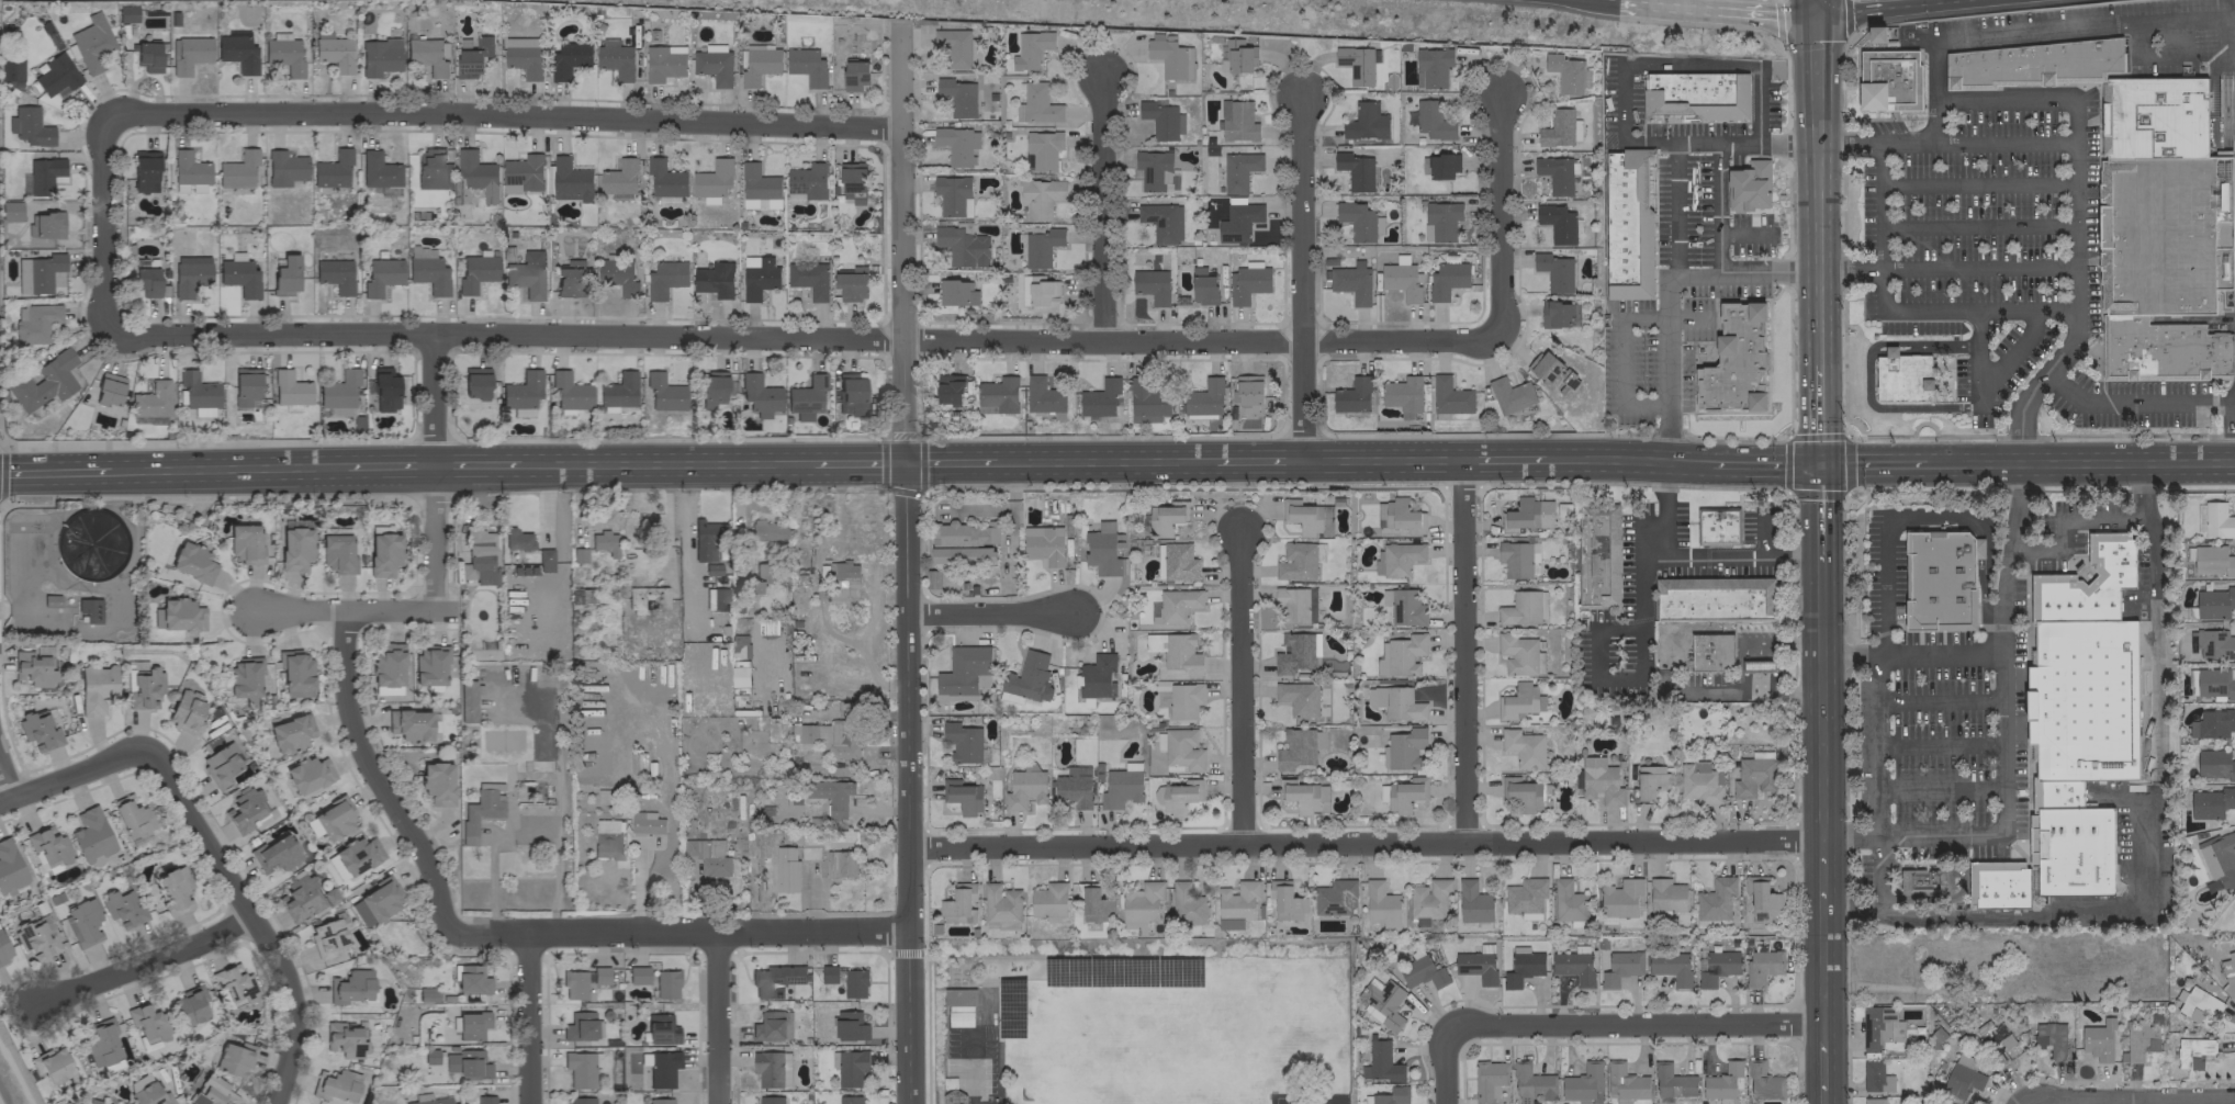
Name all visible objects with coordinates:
road: (1605, 1)
road: (1660, 7)
road: (1813, 7)
road: (1882, 7)
building: (127, 13)
road: (1757, 14)
traffic signals: (1813, 14)
building: (1876, 33)
building: (91, 43)
building: (956, 47)
building: (1031, 49)
building: (237, 50)
building: (189, 53)
building: (334, 53)
building: (147, 55)
building: (284, 55)
building: (428, 55)
building: (380, 56)
building: (472, 56)
building: (523, 56)
building: (1236, 56)
building: (1170, 57)
building: (569, 59)
building: (616, 60)
road: (1798, 61)
building: (663, 63)
road: (1781, 63)
building: (712, 64)
building: (756, 64)
building: (1357, 64)
building: (806, 66)
building: (1431, 67)
building: (11, 70)
building: (855, 74)
building: (1566, 74)
building: (57, 76)
building: (1889, 81)
building: (957, 97)
building: (1695, 97)
road: (2054, 102)
building: (1036, 104)
road: (1759, 105)
road: (505, 111)
building: (1161, 119)
building: (1433, 120)
building: (1238, 122)
building: (1366, 122)
building: (2154, 122)
building: (31, 126)
building: (1560, 128)
road: (1744, 143)
road: (1894, 143)
road: (2003, 143)
building: (957, 144)
building: (1043, 148)
road: (1676, 159)
building: (1441, 166)
building: (190, 168)
building: (284, 168)
building: (238, 169)
building: (333, 169)
building: (433, 169)
building: (378, 170)
building: (1238, 170)
building: (1355, 170)
building: (145, 171)
building: (1156, 171)
building: (476, 173)
building: (523, 173)
building: (1557, 173)
building: (44, 174)
building: (665, 178)
building: (852, 178)
building: (570, 180)
building: (619, 180)
building: (711, 181)
building: (807, 182)
road: (1975, 183)
building: (1750, 187)
building: (189, 188)
building: (759, 188)
road: (1815, 188)
building: (953, 194)
building: (1040, 196)
road: (1876, 205)
road: (1102, 210)
building: (11, 211)
road: (1504, 217)
building: (1357, 219)
building: (1440, 221)
building: (1163, 222)
building: (1238, 222)
building: (1558, 222)
road: (106, 223)
building: (1631, 223)
building: (45, 225)
road: (1976, 226)
building: (2165, 233)
road: (1742, 235)
road: (903, 238)
building: (962, 245)
building: (1041, 246)
road: (1718, 257)
road: (1976, 268)
building: (427, 270)
building: (1554, 271)
building: (37, 272)
building: (475, 272)
road: (1301, 273)
building: (190, 274)
building: (335, 274)
building: (528, 274)
building: (617, 274)
road: (1697, 274)
building: (285, 275)
building: (381, 275)
building: (239, 277)
building: (757, 277)
building: (570, 278)
building: (664, 279)
building: (714, 279)
building: (808, 279)
building: (1446, 280)
building: (147, 281)
building: (1351, 281)
building: (1400, 281)
building: (851, 282)
building: (1246, 283)
building: (1150, 284)
building: (1202, 286)
building: (955, 292)
building: (1042, 294)
building: (34, 323)
road: (806, 337)
building: (2163, 350)
road: (2010, 353)
road: (1976, 358)
road: (1621, 359)
building: (1736, 362)
building: (1552, 373)
building: (1902, 376)
road: (1868, 378)
building: (44, 382)
road: (2036, 382)
building: (475, 383)
building: (246, 386)
building: (109, 388)
building: (383, 388)
building: (711, 388)
building: (948, 388)
building: (196, 391)
building: (290, 391)
building: (521, 391)
building: (570, 391)
building: (339, 392)
building: (618, 392)
building: (664, 392)
building: (1248, 393)
building: (759, 394)
building: (850, 394)
building: (998, 395)
building: (1042, 395)
building: (1352, 395)
building: (1509, 395)
building: (1403, 396)
building: (1449, 396)
building: (806, 397)
building: (1204, 397)
building: (1099, 398)
building: (151, 399)
building: (1146, 402)
road: (2134, 402)
building: (202, 412)
road: (1817, 414)
road: (2233, 435)
road: (1, 440)
road: (1381, 459)
road: (1503, 459)
road: (1626, 459)
road: (1104, 460)
road: (1258, 460)
road: (950, 461)
road: (857, 462)
traffic signals: (905, 462)
road: (2081, 462)
road: (476, 463)
road: (665, 463)
road: (1873, 463)
road: (389, 464)
road: (1762, 464)
traffic signals: (1818, 464)
road: (226, 466)
road: (1, 472)
road: (54, 472)
road: (433, 472)
building: (1529, 514)
building: (1403, 516)
road: (1818, 516)
building: (1306, 517)
building: (2199, 518)
building: (1164, 519)
building: (2217, 521)
road: (2068, 523)
building: (1718, 528)
building: (767, 530)
building: (964, 533)
road: (1986, 537)
building: (517, 539)
building: (707, 539)
road: (688, 540)
building: (604, 542)
storage tank: (89, 543)
building: (245, 543)
building: (1043, 545)
building: (295, 548)
building: (91, 549)
building: (1101, 550)
building: (384, 553)
building: (337, 554)
building: (1598, 554)
building: (480, 556)
building: (1517, 557)
road: (1731, 557)
building: (958, 559)
building: (1396, 559)
building: (1299, 560)
building: (2213, 561)
building: (192, 562)
building: (1178, 562)
building: (712, 568)
building: (761, 575)
building: (2054, 577)
building: (1941, 578)
building: (843, 581)
road: (1883, 584)
building: (641, 598)
building: (707, 598)
building: (719, 599)
building: (1715, 599)
building: (2213, 602)
building: (1292, 604)
building: (1176, 606)
building: (1403, 606)
building: (1523, 608)
building: (89, 609)
road: (344, 611)
road: (991, 612)
building: (181, 615)
road: (1640, 637)
building: (2214, 644)
building: (1176, 651)
road: (1463, 651)
building: (1295, 652)
building: (1711, 653)
building: (1404, 654)
building: (1518, 654)
road: (1850, 654)
building: (1381, 661)
building: (429, 664)
building: (388, 665)
building: (1757, 666)
building: (32, 668)
road: (1738, 668)
building: (964, 672)
building: (739, 673)
building: (295, 674)
building: (244, 677)
building: (1029, 677)
building: (1094, 677)
building: (2212, 683)
road: (1243, 687)
road: (1879, 687)
building: (97, 688)
building: (145, 688)
building: (1161, 692)
building: (1298, 698)
building: (1018, 699)
road: (1941, 699)
building: (468, 700)
building: (1183, 700)
building: (2084, 700)
building: (1518, 701)
building: (1395, 702)
road: (1821, 703)
building: (187, 711)
building: (2212, 723)
building: (38, 731)
building: (290, 733)
building: (829, 736)
road: (2001, 737)
building: (962, 742)
road: (1941, 745)
building: (1299, 747)
building: (1405, 747)
building: (1523, 747)
building: (1182, 748)
building: (2214, 764)
building: (221, 765)
building: (1077, 770)
building: (307, 775)
road: (71, 776)
road: (554, 776)
building: (1752, 776)
road: (7, 777)
road: (375, 777)
building: (1649, 780)
building: (1599, 781)
building: (437, 782)
road: (908, 782)
building: (1699, 782)
building: (1121, 786)
building: (1023, 789)
road: (1942, 789)
building: (1071, 791)
building: (1521, 792)
building: (1405, 793)
building: (2058, 795)
building: (831, 796)
building: (962, 796)
building: (1180, 796)
building: (1303, 796)
building: (2210, 802)
building: (246, 810)
building: (481, 810)
building: (333, 818)
building: (132, 819)
building: (645, 822)
road: (2127, 822)
building: (91, 836)
road: (523, 837)
road: (1366, 844)
building: (48, 847)
building: (2071, 850)
building: (276, 854)
building: (358, 855)
building: (707, 856)
building: (2219, 857)
building: (841, 864)
building: (10, 868)
road: (1823, 868)
building: (786, 869)
road: (1882, 881)
building: (1923, 881)
building: (1998, 885)
building: (175, 889)
building: (1665, 894)
building: (304, 897)
building: (1335, 897)
building: (1525, 897)
building: (1620, 898)
building: (1761, 898)
building: (1715, 899)
building: (1048, 900)
building: (1284, 900)
building: (1428, 900)
building: (1143, 901)
building: (1568, 901)
building: (375, 902)
building: (1380, 902)
building: (1472, 902)
building: (1000, 903)
building: (1237, 903)
building: (959, 904)
building: (1096, 904)
building: (1187, 904)
road: (250, 916)
building: (83, 921)
road: (681, 930)
building: (327, 937)
building: (36, 939)
building: (3, 949)
road: (1824, 959)
road: (144, 964)
building: (1476, 964)
building: (1521, 966)
building: (1670, 966)
building: (1762, 966)
building: (1573, 967)
building: (1620, 967)
building: (1717, 967)
building: (2227, 969)
building: (1422, 972)
building: (599, 975)
building: (638, 975)
building: (471, 980)
building: (774, 980)
building: (845, 980)
building: (234, 983)
building: (665, 983)
building: (573, 984)
building: (350, 987)
building: (1381, 1002)
building: (2197, 1004)
building: (190, 1005)
building: (958, 1006)
road: (719, 1016)
road: (529, 1018)
building: (147, 1023)
road: (1633, 1023)
building: (472, 1024)
building: (582, 1026)
building: (771, 1026)
building: (850, 1026)
building: (1879, 1026)
building: (661, 1028)
building: (2049, 1038)
building: (344, 1040)
building: (1993, 1040)
building: (2098, 1040)
building: (2139, 1040)
building: (102, 1041)
building: (2192, 1051)
road: (1826, 1057)
building: (235, 1058)
building: (1380, 1062)
building: (52, 1064)
building: (467, 1064)
building: (849, 1067)
building: (581, 1068)
building: (660, 1068)
building: (772, 1068)
road: (1444, 1068)
road: (974, 1069)
building: (1875, 1077)
building: (1961, 1079)
building: (1489, 1080)
building: (138, 1081)
building: (1624, 1081)
building: (1671, 1081)
building: (1722, 1081)
building: (1582, 1082)
building: (1763, 1082)
building: (1530, 1083)
building: (336, 1085)
building: (213, 1092)
building: (951, 1092)
building: (150, 1095)
building: (1390, 1095)
road: (3, 1096)
road: (1827, 1099)
building: (485, 1100)
building: (581, 1100)
building: (770, 1100)
building: (850, 1100)
road: (2130, 1100)
building: (429, 1101)
building: (659, 1101)
building: (1873, 1101)
building: (94, 1102)
road: (2025, 1103)

